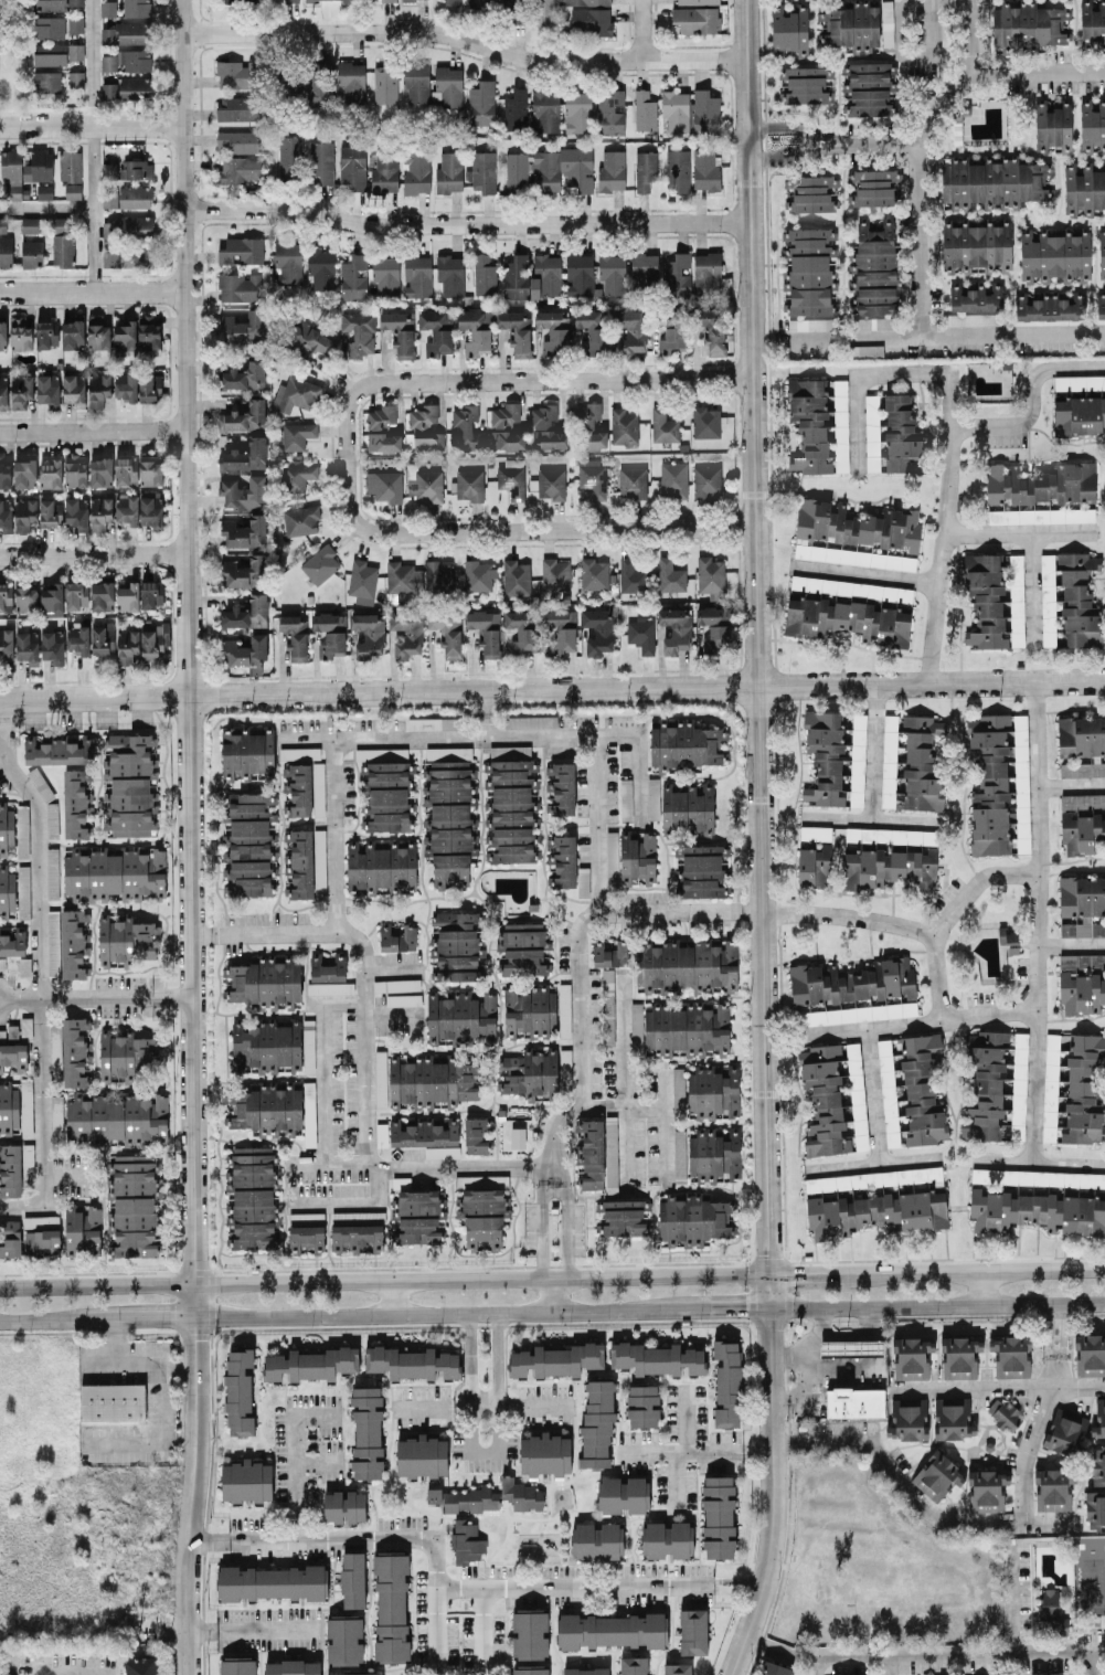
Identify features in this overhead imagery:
building: (307, 0)
building: (350, 0)
building: (387, 0)
building: (238, 1)
building: (698, 1)
building: (453, 2)
building: (586, 2)
building: (55, 3)
building: (479, 3)
building: (108, 8)
building: (136, 8)
building: (518, 10)
building: (695, 19)
building: (591, 20)
building: (1093, 20)
building: (886, 22)
building: (75, 23)
building: (1028, 24)
building: (50, 26)
building: (852, 26)
road: (642, 29)
road: (934, 29)
building: (789, 30)
road: (901, 31)
building: (127, 32)
road: (466, 38)
building: (75, 51)
building: (50, 53)
building: (127, 60)
road: (91, 61)
building: (237, 73)
road: (1038, 73)
road: (965, 78)
building: (47, 81)
building: (416, 81)
building: (351, 82)
building: (385, 82)
building: (289, 84)
building: (319, 84)
building: (804, 85)
building: (135, 87)
building: (447, 87)
building: (869, 88)
building: (109, 89)
building: (481, 103)
building: (237, 107)
building: (514, 108)
building: (645, 109)
building: (676, 109)
building: (546, 110)
building: (577, 110)
building: (610, 113)
building: (704, 113)
road: (91, 121)
building: (1052, 124)
road: (778, 126)
road: (822, 132)
road: (874, 139)
building: (238, 140)
road: (809, 140)
road: (824, 147)
building: (289, 153)
road: (779, 157)
building: (70, 165)
building: (39, 166)
building: (352, 166)
building: (135, 168)
building: (240, 168)
building: (12, 169)
building: (563, 169)
building: (678, 169)
building: (705, 169)
building: (612, 170)
building: (645, 170)
building: (384, 171)
building: (416, 171)
building: (449, 171)
building: (482, 171)
building: (517, 171)
building: (991, 181)
building: (872, 187)
building: (1083, 189)
building: (73, 190)
building: (44, 191)
building: (811, 192)
building: (135, 195)
building: (109, 197)
road: (45, 205)
road: (91, 206)
building: (60, 223)
road: (466, 223)
building: (2, 224)
building: (29, 224)
building: (128, 225)
road: (915, 238)
building: (976, 245)
building: (6, 250)
building: (241, 250)
building: (32, 253)
building: (1102, 254)
building: (129, 255)
building: (1055, 255)
building: (287, 262)
building: (644, 266)
building: (321, 267)
building: (875, 267)
building: (809, 269)
building: (612, 273)
building: (706, 273)
building: (385, 274)
building: (450, 274)
building: (484, 274)
building: (580, 274)
building: (417, 275)
building: (545, 275)
building: (677, 275)
building: (516, 276)
building: (353, 277)
building: (240, 286)
road: (92, 291)
building: (976, 297)
building: (1101, 305)
building: (1050, 307)
building: (969, 318)
building: (872, 322)
building: (811, 324)
building: (243, 327)
building: (711, 328)
building: (593, 329)
building: (631, 329)
building: (400, 330)
building: (437, 330)
building: (476, 330)
building: (516, 331)
building: (554, 331)
building: (20, 332)
building: (46, 332)
building: (98, 332)
building: (359, 332)
building: (73, 333)
building: (2, 335)
building: (148, 335)
building: (125, 336)
road: (942, 337)
building: (311, 338)
building: (865, 350)
building: (244, 375)
road: (854, 375)
road: (516, 379)
building: (1080, 381)
building: (125, 385)
building: (149, 386)
building: (47, 389)
building: (74, 389)
building: (98, 389)
building: (21, 390)
building: (3, 392)
building: (296, 393)
road: (1029, 400)
building: (504, 414)
building: (1079, 414)
building: (244, 416)
building: (381, 416)
building: (708, 422)
building: (466, 424)
building: (809, 424)
building: (624, 425)
building: (663, 425)
building: (840, 425)
building: (545, 426)
building: (589, 426)
road: (95, 427)
building: (425, 427)
building: (872, 432)
building: (297, 434)
building: (902, 434)
building: (507, 439)
building: (384, 442)
building: (245, 455)
building: (75, 469)
building: (149, 469)
building: (126, 470)
building: (24, 471)
building: (100, 471)
building: (4, 473)
building: (51, 473)
building: (592, 475)
building: (297, 476)
building: (673, 479)
building: (511, 480)
building: (706, 480)
building: (631, 481)
building: (550, 483)
building: (1041, 483)
building: (424, 484)
building: (468, 484)
building: (385, 485)
building: (244, 491)
building: (151, 510)
building: (51, 511)
building: (100, 511)
building: (24, 512)
building: (76, 512)
building: (6, 519)
building: (301, 519)
road: (944, 527)
road: (523, 528)
building: (245, 531)
road: (1017, 532)
road: (95, 551)
building: (854, 556)
building: (320, 563)
building: (246, 571)
building: (594, 573)
building: (710, 573)
road: (860, 573)
building: (554, 574)
building: (670, 574)
building: (438, 575)
building: (479, 575)
building: (631, 575)
building: (516, 576)
building: (402, 579)
building: (362, 580)
building: (851, 587)
road: (1031, 587)
building: (151, 593)
building: (76, 594)
building: (102, 595)
building: (6, 596)
building: (52, 596)
building: (128, 596)
building: (25, 597)
building: (1048, 598)
building: (995, 600)
building: (1079, 600)
building: (247, 613)
building: (849, 619)
building: (714, 626)
building: (676, 628)
building: (486, 629)
building: (447, 630)
building: (521, 630)
building: (561, 630)
building: (598, 630)
building: (330, 632)
building: (406, 633)
building: (368, 634)
building: (641, 634)
building: (295, 636)
building: (103, 637)
building: (77, 638)
building: (155, 639)
building: (6, 644)
building: (127, 645)
building: (28, 646)
building: (53, 646)
building: (245, 649)
road: (552, 687)
road: (10, 707)
building: (531, 721)
building: (434, 722)
road: (464, 734)
building: (686, 745)
building: (1081, 745)
building: (59, 749)
building: (509, 751)
building: (299, 752)
building: (381, 752)
building: (448, 752)
road: (873, 752)
building: (247, 753)
building: (835, 757)
building: (912, 763)
road: (639, 778)
building: (41, 783)
building: (131, 783)
building: (1000, 784)
building: (318, 787)
building: (561, 787)
building: (297, 788)
road: (1073, 789)
building: (513, 791)
building: (386, 796)
building: (652, 797)
building: (688, 807)
building: (52, 821)
road: (601, 821)
building: (449, 823)
road: (878, 823)
building: (1083, 823)
building: (7, 829)
building: (22, 830)
road: (339, 833)
road: (191, 837)
road: (764, 840)
building: (249, 844)
building: (512, 844)
building: (814, 855)
building: (637, 856)
building: (320, 858)
building: (612, 859)
building: (564, 860)
building: (301, 862)
building: (381, 867)
building: (890, 867)
building: (701, 870)
building: (52, 873)
building: (7, 891)
building: (23, 891)
building: (1082, 905)
road: (684, 911)
road: (851, 915)
road: (948, 915)
road: (1040, 919)
road: (266, 932)
building: (397, 936)
building: (1009, 936)
building: (458, 937)
building: (53, 942)
building: (11, 943)
road: (1072, 945)
building: (522, 947)
building: (610, 952)
building: (688, 964)
building: (18, 966)
building: (328, 966)
road: (396, 967)
building: (458, 974)
building: (266, 980)
road: (45, 982)
building: (1082, 982)
building: (396, 984)
building: (330, 987)
building: (856, 989)
road: (98, 995)
road: (172, 995)
road: (23, 996)
building: (403, 999)
building: (608, 1006)
building: (564, 1008)
building: (529, 1010)
road: (394, 1015)
building: (460, 1016)
road: (918, 1022)
building: (637, 1026)
building: (684, 1028)
road: (583, 1036)
building: (266, 1043)
road: (368, 1045)
building: (308, 1046)
building: (74, 1050)
building: (55, 1053)
building: (127, 1056)
road: (320, 1057)
road: (624, 1073)
building: (529, 1074)
building: (381, 1079)
building: (996, 1085)
building: (679, 1090)
building: (1073, 1090)
building: (713, 1092)
building: (911, 1092)
building: (857, 1095)
road: (875, 1095)
building: (825, 1096)
road: (659, 1104)
building: (26, 1105)
building: (266, 1109)
building: (308, 1111)
building: (56, 1117)
building: (116, 1119)
building: (424, 1132)
building: (475, 1135)
building: (518, 1136)
road: (662, 1138)
road: (626, 1144)
building: (610, 1146)
building: (442, 1151)
building: (591, 1153)
road: (325, 1160)
road: (1039, 1160)
road: (872, 1163)
building: (679, 1164)
building: (13, 1166)
road: (487, 1166)
road: (548, 1191)
building: (253, 1198)
road: (352, 1202)
building: (135, 1205)
building: (870, 1209)
building: (1037, 1211)
building: (418, 1217)
building: (485, 1217)
building: (624, 1217)
building: (693, 1219)
building: (83, 1230)
building: (41, 1234)
building: (10, 1237)
building: (307, 1237)
building: (357, 1237)
road: (541, 1237)
road: (567, 1237)
road: (830, 1269)
road: (277, 1279)
road: (979, 1286)
road: (556, 1292)
road: (389, 1295)
road: (552, 1307)
building: (851, 1347)
building: (1090, 1354)
building: (1011, 1355)
building: (959, 1356)
building: (656, 1357)
building: (912, 1357)
building: (556, 1359)
road: (115, 1361)
building: (412, 1361)
building: (311, 1363)
building: (727, 1382)
road: (1001, 1386)
road: (484, 1388)
building: (238, 1391)
road: (159, 1398)
building: (113, 1401)
road: (490, 1401)
building: (854, 1401)
building: (642, 1404)
road: (1042, 1412)
building: (1005, 1413)
building: (907, 1418)
building: (953, 1418)
building: (1098, 1420)
building: (597, 1423)
building: (366, 1431)
building: (1065, 1431)
road: (848, 1434)
road: (687, 1448)
building: (545, 1453)
building: (422, 1455)
building: (1098, 1465)
building: (937, 1475)
road: (299, 1476)
building: (246, 1481)
building: (1053, 1488)
building: (987, 1490)
building: (623, 1493)
building: (434, 1494)
building: (522, 1494)
building: (471, 1498)
building: (344, 1505)
building: (1095, 1508)
building: (718, 1516)
road: (380, 1536)
building: (667, 1538)
building: (466, 1541)
building: (352, 1579)
building: (272, 1581)
road: (599, 1583)
road: (1016, 1599)
building: (1050, 1601)
building: (391, 1607)
building: (1059, 1624)
road: (258, 1628)
building: (610, 1628)
building: (692, 1628)
road: (482, 1630)
building: (529, 1633)
building: (344, 1640)
road: (774, 1644)
road: (952, 1653)
road: (1095, 1658)
building: (633, 1664)
building: (141, 1665)
building: (237, 1665)
road: (891, 1665)
road: (815, 1666)
building: (293, 1667)
building: (677, 1667)
building: (774, 1668)
building: (585, 1669)
building: (530, 1671)
road: (68, 1673)
building: (354, 1673)
building: (1045, 1673)

